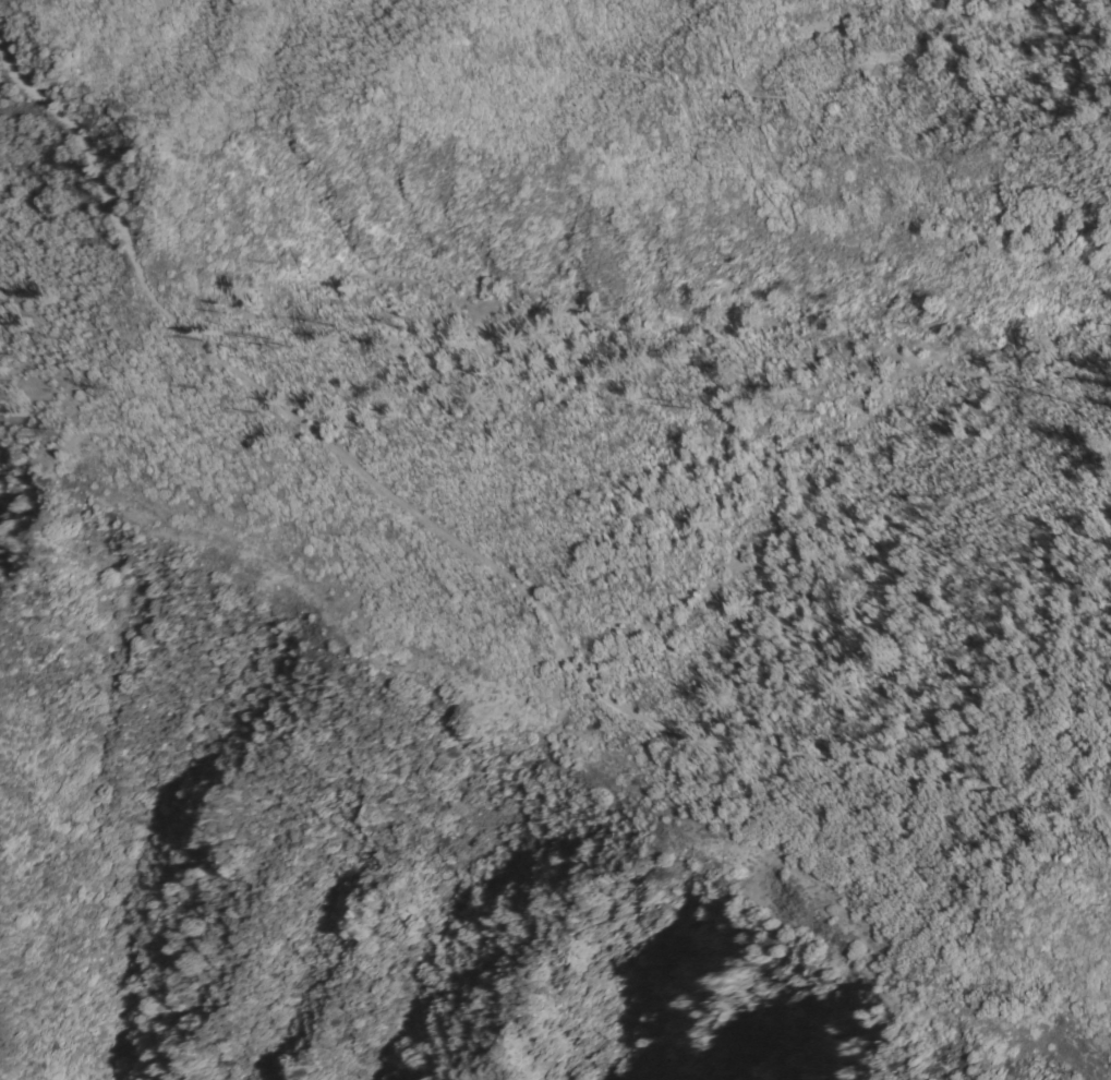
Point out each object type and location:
road: (759, 93)
road: (94, 348)
road: (480, 550)

